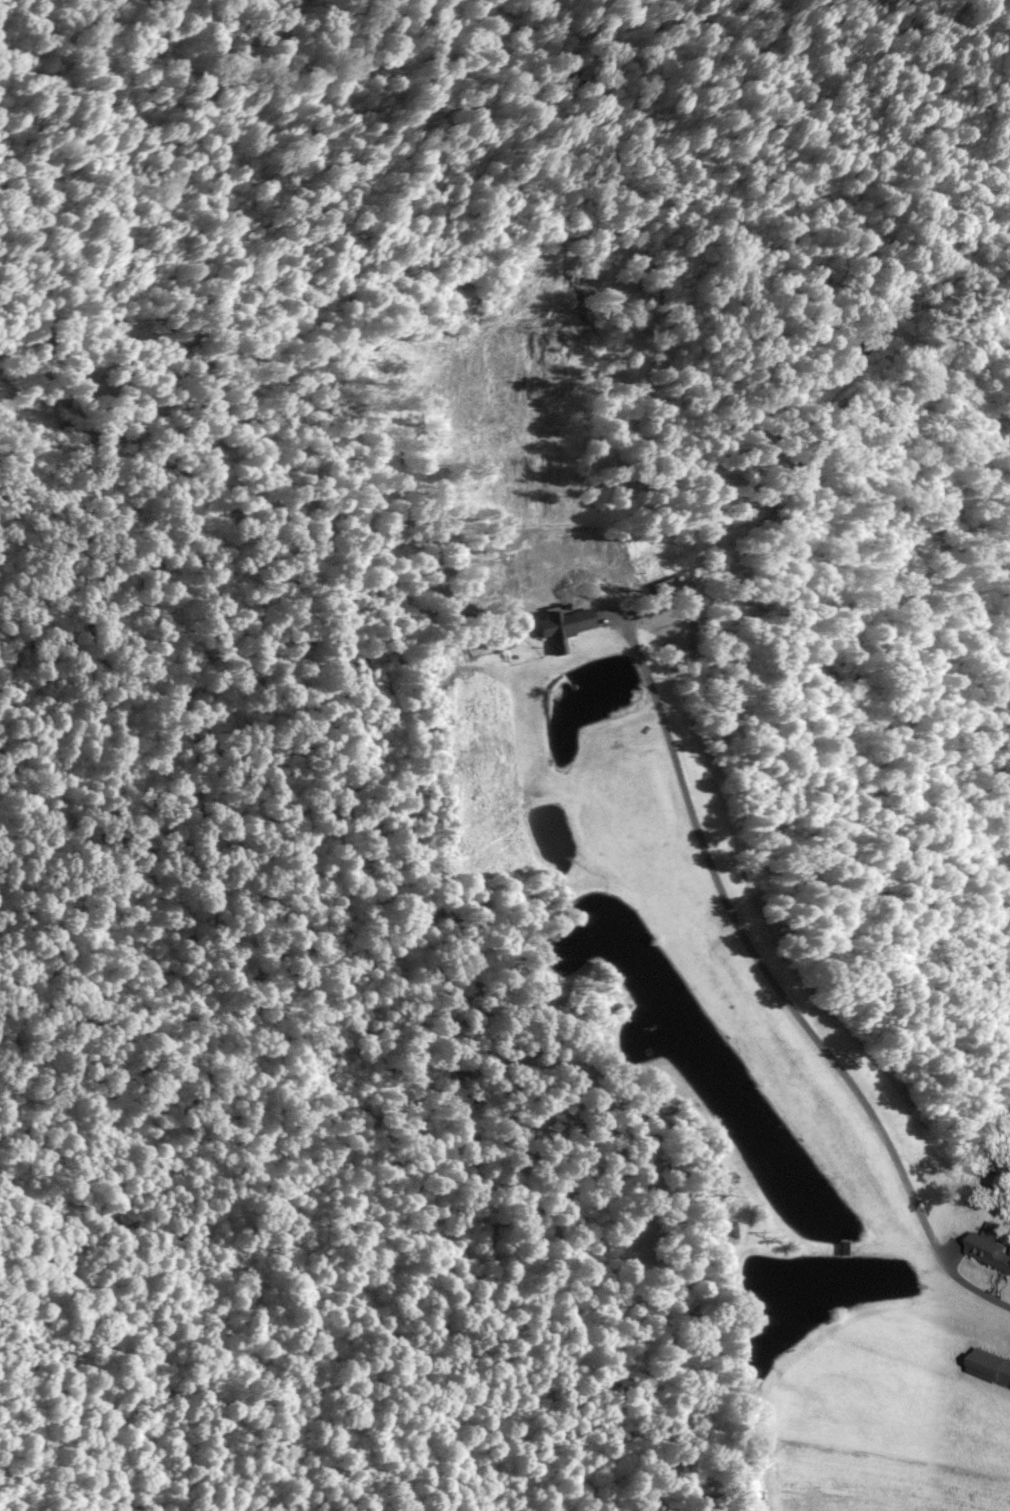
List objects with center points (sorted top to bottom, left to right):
building: (660, 587)
building: (556, 626)
road: (775, 990)

